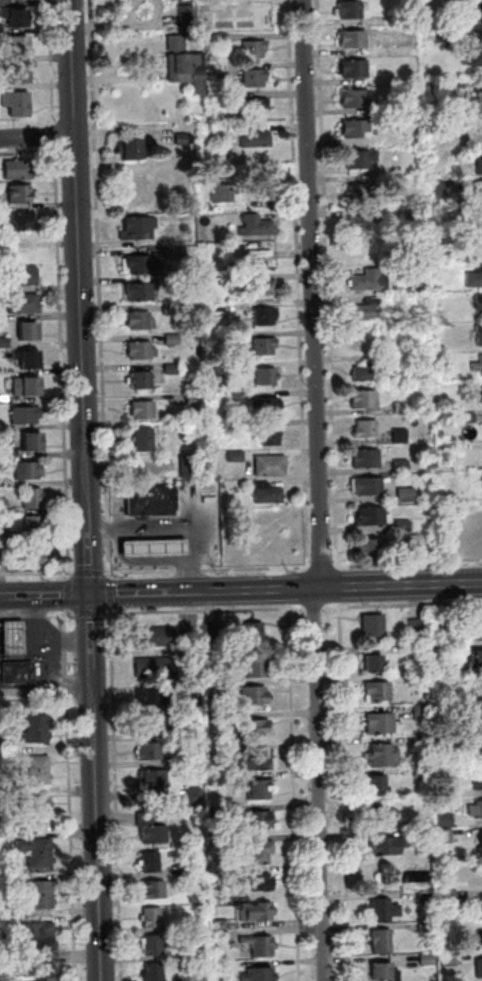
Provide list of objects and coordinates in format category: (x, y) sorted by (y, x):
building: (16, 1)
building: (461, 1)
building: (351, 7)
building: (478, 10)
building: (189, 18)
building: (17, 20)
building: (2, 30)
building: (352, 37)
building: (222, 38)
building: (255, 49)
building: (20, 50)
building: (473, 51)
building: (188, 66)
building: (353, 66)
road: (154, 71)
building: (255, 78)
building: (21, 79)
building: (436, 87)
building: (355, 96)
building: (479, 98)
building: (224, 100)
building: (17, 103)
building: (257, 106)
building: (388, 108)
building: (356, 127)
road: (38, 135)
building: (255, 138)
building: (184, 139)
building: (131, 147)
building: (360, 157)
building: (479, 163)
building: (20, 169)
building: (443, 187)
building: (478, 188)
building: (22, 192)
building: (358, 192)
building: (225, 193)
building: (211, 209)
building: (366, 220)
building: (21, 221)
building: (257, 227)
building: (139, 228)
road: (79, 245)
building: (366, 249)
building: (176, 253)
building: (253, 254)
building: (140, 264)
road: (328, 275)
building: (475, 276)
building: (23, 277)
building: (369, 279)
road: (299, 285)
building: (258, 286)
road: (101, 290)
building: (140, 292)
road: (314, 293)
building: (25, 303)
building: (479, 304)
building: (368, 308)
building: (173, 310)
building: (266, 317)
building: (141, 321)
building: (30, 331)
building: (479, 333)
building: (235, 337)
building: (173, 340)
building: (5, 342)
building: (265, 347)
building: (142, 350)
building: (28, 358)
building: (477, 365)
building: (173, 370)
building: (369, 370)
building: (5, 371)
building: (267, 377)
building: (142, 380)
building: (27, 386)
building: (480, 394)
building: (238, 397)
building: (364, 398)
building: (195, 399)
building: (269, 406)
building: (402, 407)
building: (144, 410)
building: (26, 414)
building: (468, 416)
building: (2, 425)
building: (366, 428)
building: (400, 435)
building: (272, 436)
building: (145, 440)
building: (33, 443)
building: (11, 453)
building: (236, 456)
building: (367, 458)
building: (271, 465)
building: (402, 466)
building: (190, 467)
building: (29, 470)
building: (367, 485)
road: (335, 492)
building: (268, 493)
building: (406, 495)
building: (34, 497)
building: (152, 501)
building: (4, 505)
building: (373, 515)
building: (34, 525)
building: (403, 525)
road: (68, 526)
road: (140, 530)
building: (4, 533)
road: (191, 540)
building: (417, 541)
road: (89, 542)
building: (374, 545)
building: (155, 546)
building: (4, 552)
building: (34, 555)
road: (408, 563)
traffic signals: (90, 565)
road: (323, 566)
road: (208, 570)
road: (38, 573)
road: (91, 573)
road: (397, 585)
road: (339, 586)
road: (299, 587)
road: (232, 590)
road: (121, 593)
road: (71, 594)
road: (111, 594)
traffic signals: (121, 594)
road: (49, 595)
traffic signals: (62, 595)
road: (3, 597)
road: (402, 605)
road: (315, 608)
road: (206, 611)
road: (91, 614)
road: (38, 615)
traffic signals: (92, 621)
building: (476, 623)
building: (440, 625)
road: (37, 626)
building: (417, 627)
building: (373, 629)
building: (212, 631)
building: (256, 635)
building: (14, 636)
building: (156, 636)
road: (65, 642)
building: (417, 648)
building: (475, 660)
building: (216, 662)
road: (49, 663)
building: (375, 663)
building: (256, 666)
road: (94, 667)
building: (155, 667)
building: (18, 674)
building: (418, 679)
building: (46, 684)
building: (215, 689)
building: (378, 692)
building: (153, 694)
building: (255, 695)
building: (191, 703)
building: (421, 713)
building: (477, 719)
building: (37, 722)
building: (155, 722)
building: (382, 724)
building: (256, 729)
building: (184, 732)
building: (37, 736)
building: (422, 743)
building: (479, 750)
building: (151, 751)
building: (384, 755)
building: (193, 757)
building: (39, 762)
building: (253, 762)
building: (424, 773)
building: (40, 776)
building: (154, 779)
building: (216, 780)
building: (478, 780)
road: (320, 784)
building: (378, 786)
building: (445, 790)
building: (259, 791)
road: (295, 792)
road: (345, 792)
road: (71, 794)
road: (117, 794)
building: (195, 795)
building: (423, 802)
building: (39, 804)
building: (476, 810)
building: (217, 812)
building: (380, 817)
building: (39, 819)
building: (258, 819)
building: (446, 820)
building: (7, 827)
building: (152, 829)
building: (445, 836)
building: (7, 839)
building: (423, 840)
building: (481, 840)
building: (36, 845)
building: (388, 846)
building: (262, 851)
building: (41, 860)
road: (99, 861)
building: (152, 862)
building: (192, 868)
building: (11, 869)
building: (217, 874)
building: (259, 882)
building: (42, 887)
building: (153, 890)
building: (198, 896)
building: (425, 898)
building: (449, 898)
building: (42, 902)
building: (481, 907)
building: (15, 911)
building: (384, 911)
building: (257, 913)
building: (153, 918)
building: (219, 924)
building: (44, 929)
building: (427, 929)
building: (221, 936)
building: (382, 942)
building: (44, 943)
building: (153, 945)
building: (261, 946)
building: (194, 952)
building: (427, 960)
building: (449, 960)
building: (480, 969)
building: (44, 971)
building: (155, 972)
building: (384, 972)
building: (260, 974)
building: (197, 978)
building: (45, 979)

